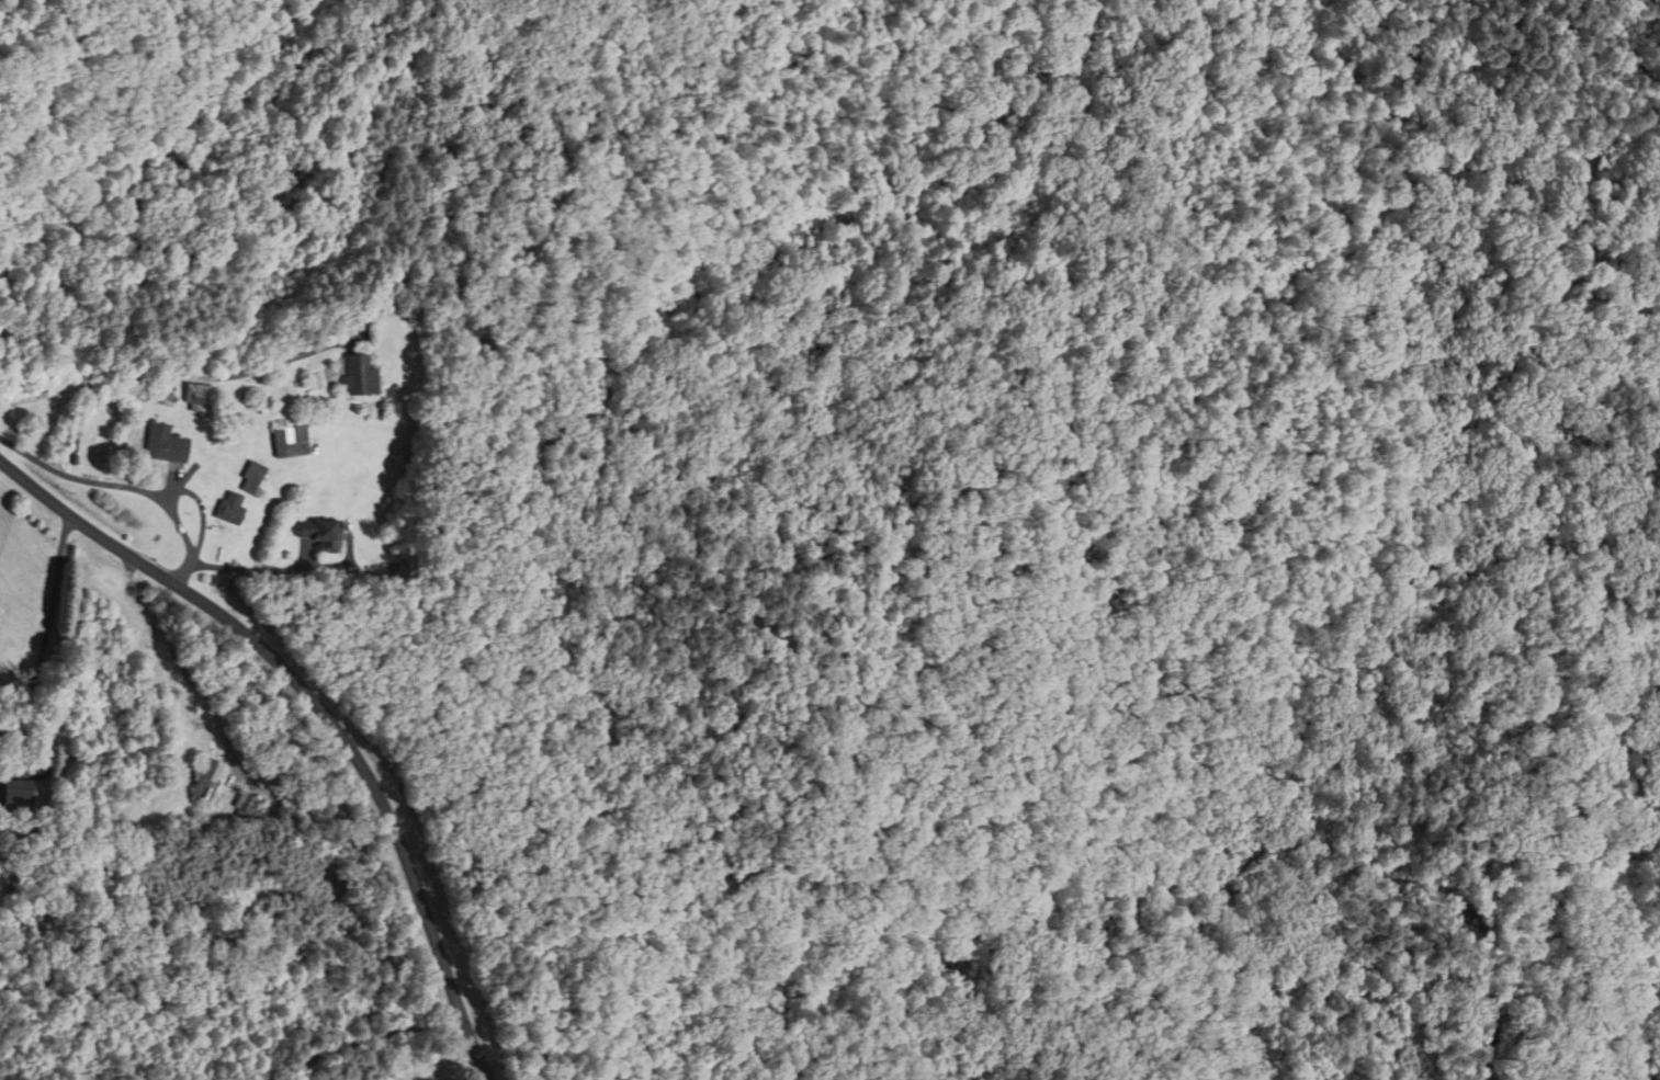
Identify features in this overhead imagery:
road: (173, 375)
building: (359, 376)
building: (196, 399)
building: (289, 442)
building: (163, 444)
building: (250, 478)
road: (113, 492)
building: (228, 509)
building: (318, 534)
road: (253, 570)
road: (53, 640)
road: (321, 709)
building: (205, 781)
building: (22, 796)
building: (249, 804)
road: (1509, 810)
road: (366, 1042)

